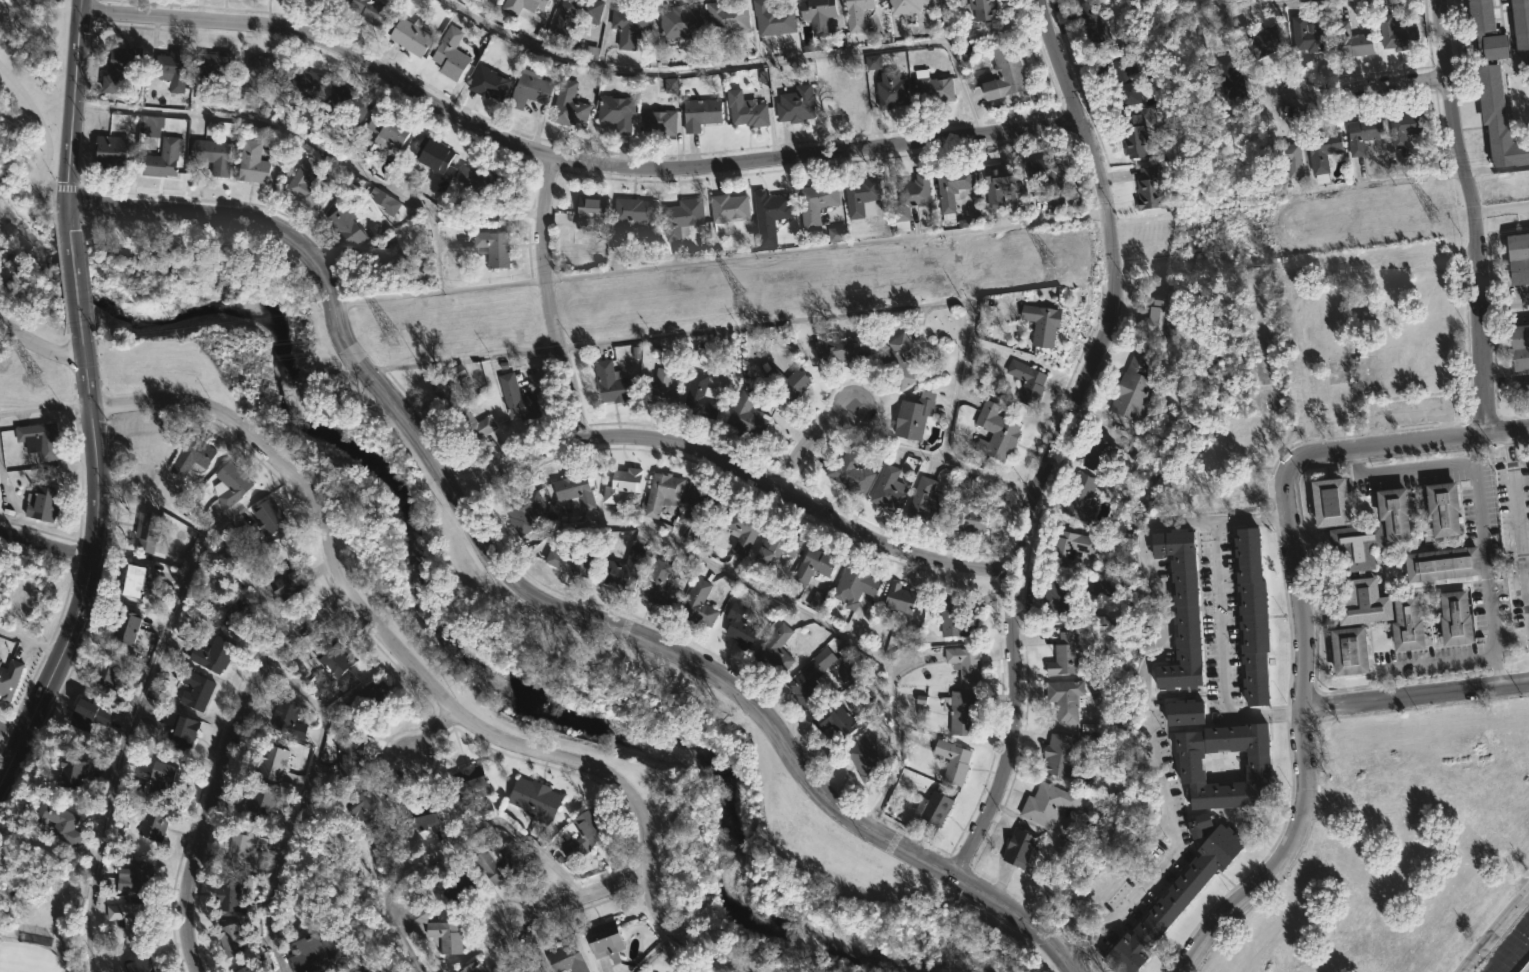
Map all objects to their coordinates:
building: (328, 2)
building: (522, 6)
building: (908, 6)
road: (1248, 6)
building: (983, 9)
building: (369, 10)
building: (818, 14)
building: (857, 14)
building: (576, 15)
building: (1480, 15)
building: (726, 19)
building: (772, 21)
building: (1093, 22)
building: (680, 23)
building: (1520, 23)
building: (630, 25)
building: (1395, 30)
building: (411, 36)
building: (1309, 36)
building: (1352, 41)
building: (1258, 42)
building: (1494, 46)
building: (591, 53)
building: (450, 55)
building: (872, 62)
road: (706, 64)
building: (119, 66)
building: (172, 69)
building: (212, 70)
building: (1005, 73)
building: (258, 78)
building: (1127, 82)
building: (488, 83)
road: (964, 84)
building: (1231, 84)
building: (671, 85)
building: (530, 88)
road: (1370, 88)
building: (301, 89)
building: (932, 89)
building: (892, 92)
road: (71, 102)
building: (346, 104)
building: (796, 105)
building: (569, 106)
park: (24, 110)
building: (746, 110)
building: (617, 112)
building: (700, 114)
building: (657, 119)
building: (1497, 120)
building: (1407, 128)
building: (388, 131)
road: (43, 132)
road: (298, 133)
building: (1364, 134)
building: (1134, 137)
building: (109, 149)
building: (1323, 153)
building: (212, 156)
building: (433, 156)
building: (163, 157)
building: (1285, 158)
road: (564, 159)
park: (29, 160)
building: (252, 163)
road: (1497, 169)
building: (1045, 177)
building: (487, 181)
road: (1379, 182)
building: (999, 184)
building: (305, 187)
building: (1150, 189)
building: (952, 191)
building: (862, 198)
building: (911, 199)
building: (384, 201)
building: (816, 203)
building: (1055, 204)
building: (729, 210)
road: (1501, 210)
building: (633, 211)
building: (590, 212)
building: (770, 215)
road: (1474, 216)
building: (682, 217)
power tower: (1420, 219)
road: (66, 222)
building: (346, 226)
building: (836, 234)
building: (493, 247)
building: (382, 255)
road: (721, 258)
building: (1518, 259)
power tower: (1038, 261)
road: (75, 290)
power tower: (732, 297)
road: (549, 299)
road: (1513, 304)
road: (1489, 308)
building: (1163, 313)
building: (1042, 323)
power tower: (388, 335)
road: (42, 346)
building: (1519, 346)
building: (842, 348)
road: (83, 355)
building: (898, 362)
power tower: (48, 377)
road: (1519, 377)
road: (1499, 379)
building: (1027, 381)
building: (611, 382)
building: (787, 382)
building: (1134, 384)
building: (449, 385)
road: (86, 388)
building: (663, 389)
building: (1522, 392)
building: (700, 397)
building: (516, 399)
road: (43, 407)
building: (914, 415)
building: (747, 416)
building: (471, 425)
building: (996, 432)
road: (1057, 438)
building: (39, 440)
road: (809, 444)
road: (1507, 446)
building: (1099, 455)
building: (191, 456)
road: (1404, 469)
road: (736, 473)
building: (850, 473)
building: (229, 484)
building: (622, 484)
building: (576, 489)
building: (889, 490)
building: (662, 492)
building: (1080, 497)
building: (926, 501)
building: (1329, 503)
building: (41, 504)
building: (693, 507)
building: (1442, 508)
building: (522, 511)
building: (967, 513)
building: (1393, 514)
building: (269, 515)
building: (743, 529)
building: (147, 531)
road: (481, 541)
road: (1518, 544)
building: (777, 545)
building: (1073, 545)
building: (1356, 545)
road: (45, 547)
building: (574, 560)
road: (1483, 562)
building: (1441, 564)
road: (1525, 564)
building: (813, 566)
building: (622, 570)
building: (133, 580)
building: (285, 581)
building: (659, 587)
building: (855, 587)
building: (1101, 588)
road: (772, 596)
building: (899, 599)
building: (1057, 600)
building: (817, 602)
road: (80, 603)
building: (697, 605)
building: (1183, 611)
building: (1379, 613)
building: (232, 615)
building: (1252, 616)
road: (1300, 618)
building: (1453, 618)
building: (955, 623)
building: (125, 626)
park: (531, 626)
building: (739, 627)
road: (32, 636)
building: (775, 648)
building: (1348, 650)
road: (1220, 653)
building: (1067, 654)
building: (214, 657)
building: (333, 658)
building: (965, 663)
road: (1438, 665)
road: (419, 674)
building: (102, 675)
building: (8, 678)
building: (804, 683)
building: (194, 690)
road: (1143, 690)
building: (370, 692)
road: (1416, 698)
building: (1066, 699)
road: (141, 700)
building: (962, 712)
building: (1186, 712)
building: (88, 713)
building: (287, 718)
building: (837, 720)
building: (179, 732)
road: (429, 735)
road: (11, 736)
building: (1061, 756)
building: (865, 758)
building: (349, 760)
road: (224, 761)
building: (273, 761)
building: (953, 762)
building: (1258, 767)
building: (70, 774)
building: (157, 779)
building: (468, 786)
building: (261, 801)
building: (534, 802)
road: (298, 803)
building: (1049, 804)
building: (934, 808)
building: (364, 810)
building: (420, 816)
building: (56, 823)
building: (151, 825)
building: (1200, 825)
building: (585, 833)
road: (449, 846)
building: (1019, 848)
building: (242, 853)
building: (496, 865)
road: (1119, 869)
building: (135, 877)
building: (459, 889)
building: (229, 896)
road: (578, 900)
building: (1175, 901)
building: (293, 914)
building: (419, 915)
road: (1018, 919)
building: (129, 921)
road: (1494, 930)
building: (445, 936)
building: (603, 939)
building: (230, 940)
building: (315, 954)
building: (565, 958)
building: (137, 964)
building: (470, 967)
building: (248, 969)
building: (535, 970)
building: (258, 971)
building: (644, 971)

